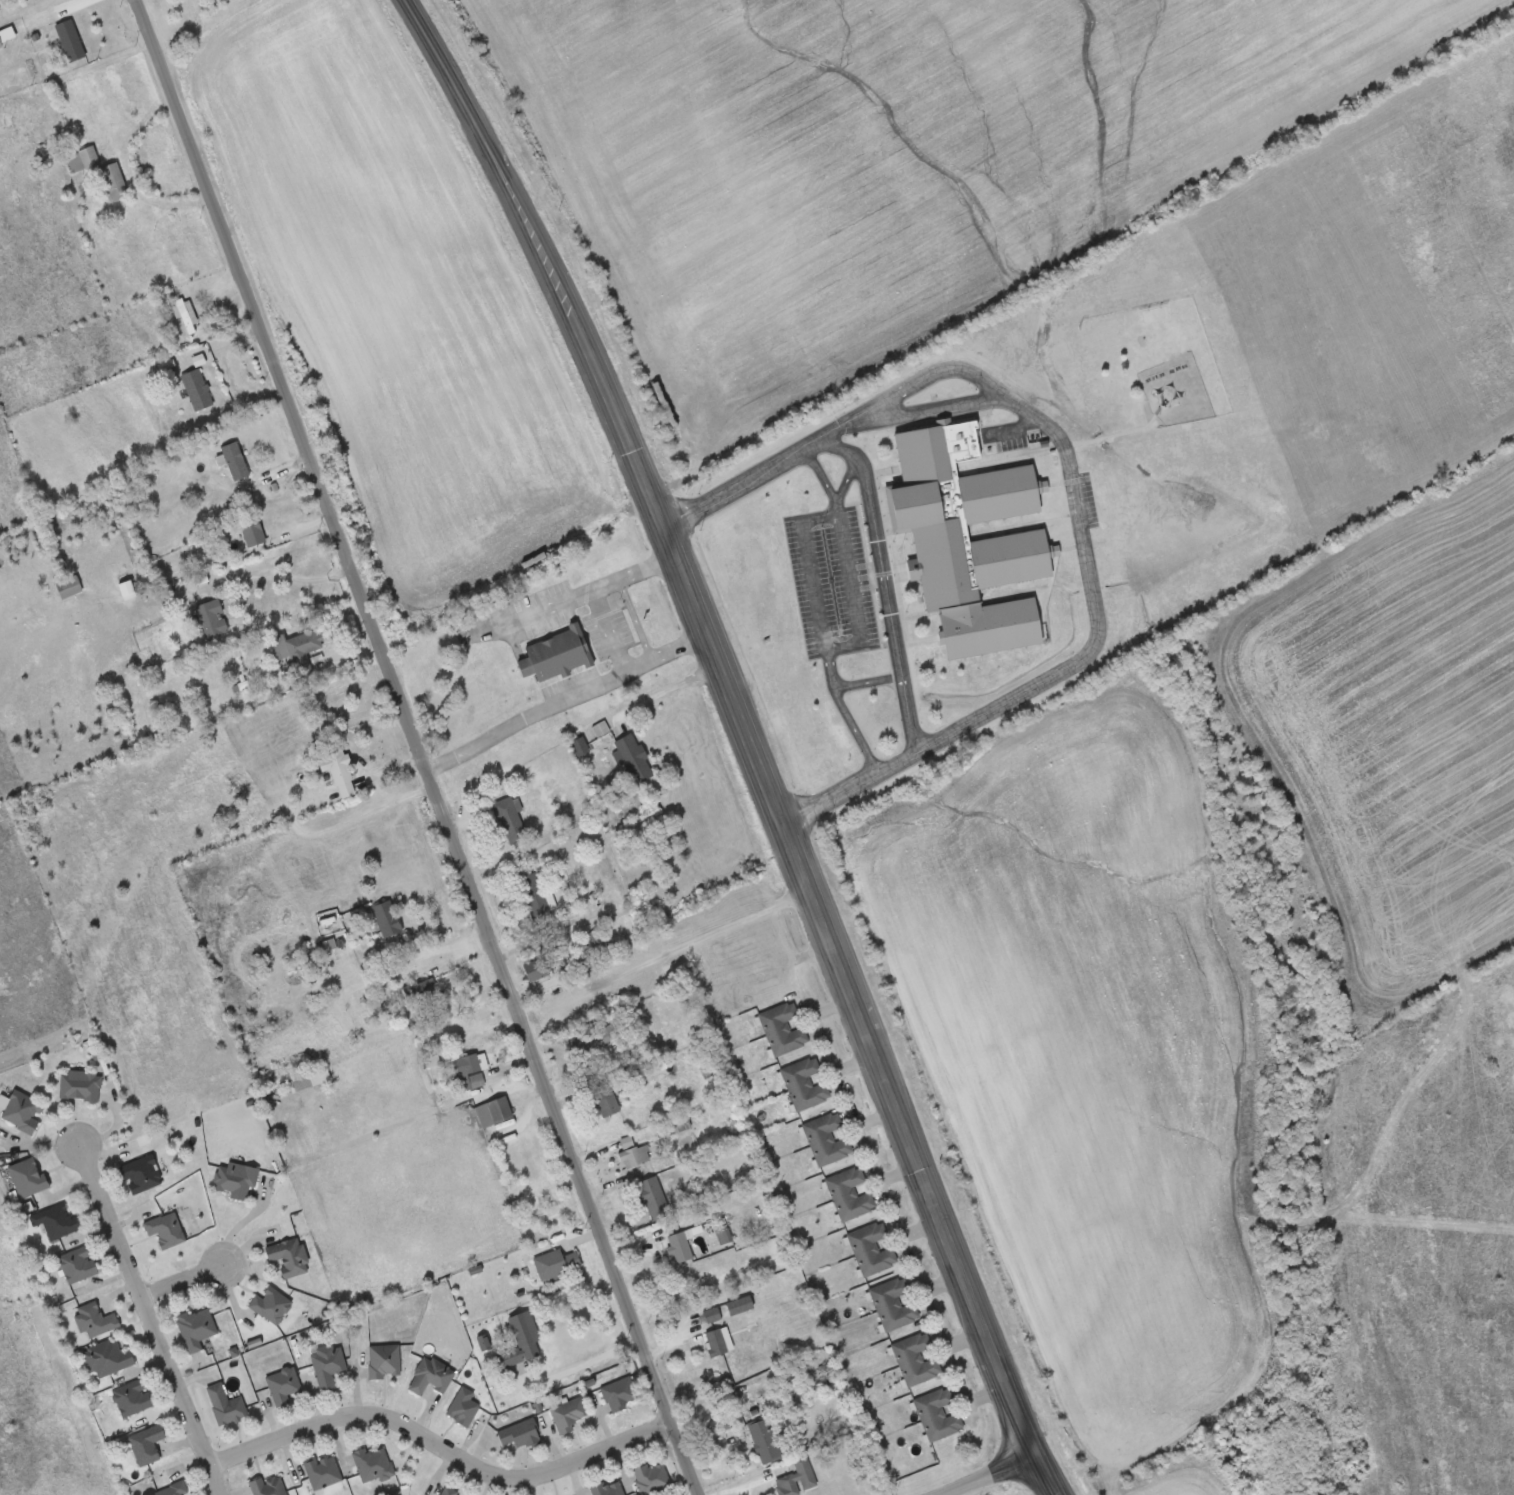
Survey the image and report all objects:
building: (72, 41)
building: (1, 43)
building: (82, 159)
building: (113, 183)
building: (185, 314)
building: (197, 389)
building: (234, 460)
road: (1075, 492)
building: (961, 514)
building: (252, 531)
road: (886, 578)
building: (69, 586)
road: (593, 590)
building: (212, 618)
building: (298, 648)
building: (556, 655)
road: (566, 697)
road: (751, 740)
road: (419, 748)
building: (633, 757)
building: (338, 773)
building: (510, 819)
building: (535, 894)
building: (386, 917)
building: (404, 955)
building: (536, 972)
building: (426, 991)
building: (782, 1028)
building: (592, 1041)
building: (470, 1071)
building: (803, 1083)
building: (80, 1085)
building: (605, 1100)
building: (23, 1111)
building: (494, 1111)
building: (826, 1138)
building: (634, 1155)
building: (142, 1174)
building: (28, 1176)
building: (235, 1179)
building: (849, 1193)
building: (653, 1198)
building: (57, 1221)
building: (679, 1246)
building: (871, 1247)
building: (289, 1256)
building: (555, 1263)
building: (78, 1264)
road: (181, 1279)
building: (739, 1304)
building: (893, 1304)
building: (709, 1315)
road: (148, 1317)
building: (196, 1328)
building: (718, 1340)
building: (521, 1341)
building: (108, 1358)
building: (915, 1359)
building: (384, 1360)
building: (327, 1364)
building: (432, 1375)
building: (284, 1385)
building: (620, 1393)
building: (133, 1397)
building: (226, 1405)
building: (463, 1406)
building: (568, 1413)
building: (937, 1414)
building: (519, 1433)
building: (766, 1439)
building: (147, 1443)
road: (440, 1443)
building: (373, 1464)
building: (324, 1472)
road: (987, 1474)
building: (652, 1477)
building: (796, 1477)
building: (268, 1485)
building: (608, 1487)
building: (174, 1489)
building: (449, 1491)

